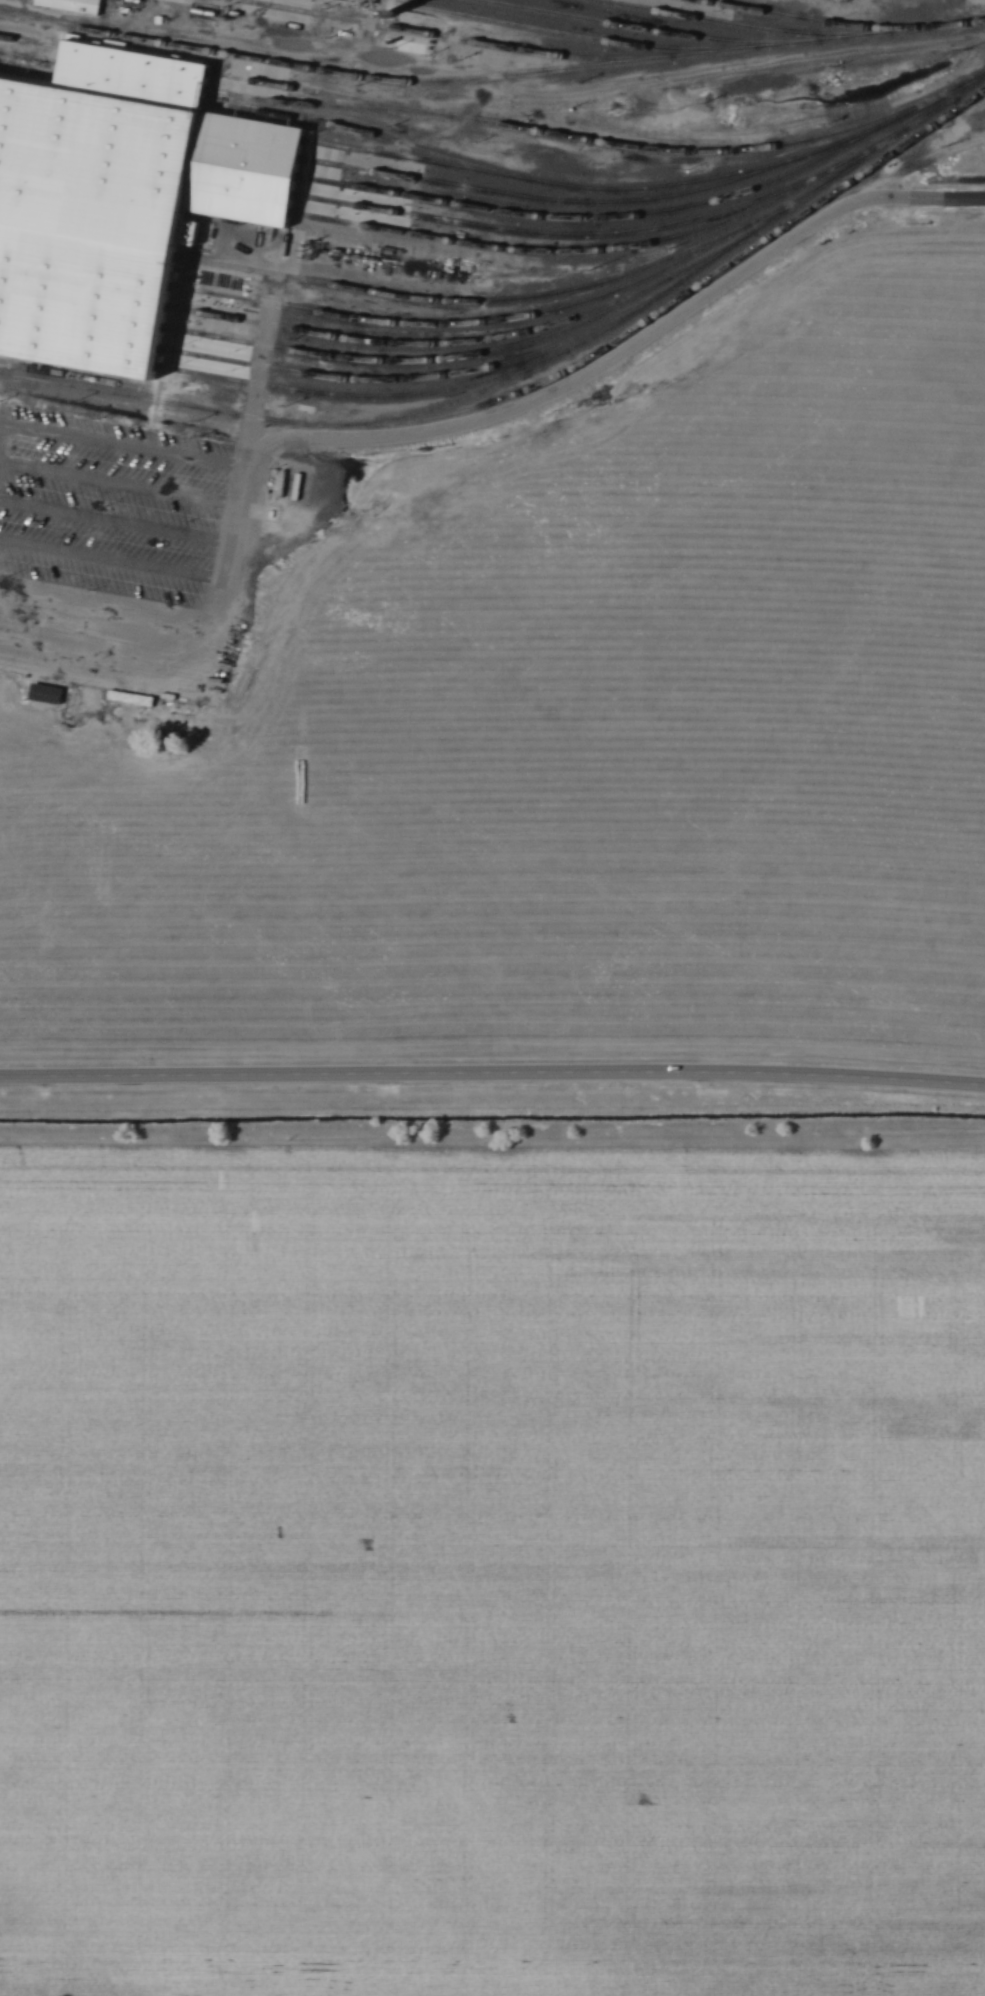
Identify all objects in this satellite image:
building: (75, 5)
railway: (717, 21)
railway: (837, 24)
railway: (631, 28)
railway: (553, 30)
railway: (444, 36)
railway: (32, 43)
railway: (31, 57)
railway: (137, 61)
railway: (30, 70)
railway: (134, 76)
railway: (457, 80)
railway: (132, 88)
railway: (314, 106)
railway: (151, 115)
railway: (343, 126)
railway: (150, 132)
railway: (601, 138)
railway: (148, 150)
road: (917, 162)
railway: (147, 168)
railway: (145, 187)
railway: (592, 189)
road: (920, 197)
building: (118, 200)
railway: (561, 200)
railway: (633, 216)
railway: (584, 237)
railway: (88, 242)
railway: (603, 249)
railway: (86, 269)
railway: (685, 279)
railway: (84, 292)
railway: (455, 301)
railway: (82, 313)
railway: (513, 317)
railway: (80, 334)
railway: (402, 343)
railway: (78, 352)
railway: (456, 358)
railway: (411, 378)
railway: (100, 381)
railway: (532, 387)
railway: (346, 396)
road: (364, 438)
road: (116, 447)
building: (282, 484)
road: (119, 487)
road: (116, 529)
parking lot: (114, 550)
road: (112, 572)
road: (107, 618)
building: (45, 693)
road: (492, 1072)
crop: (491, 1570)

